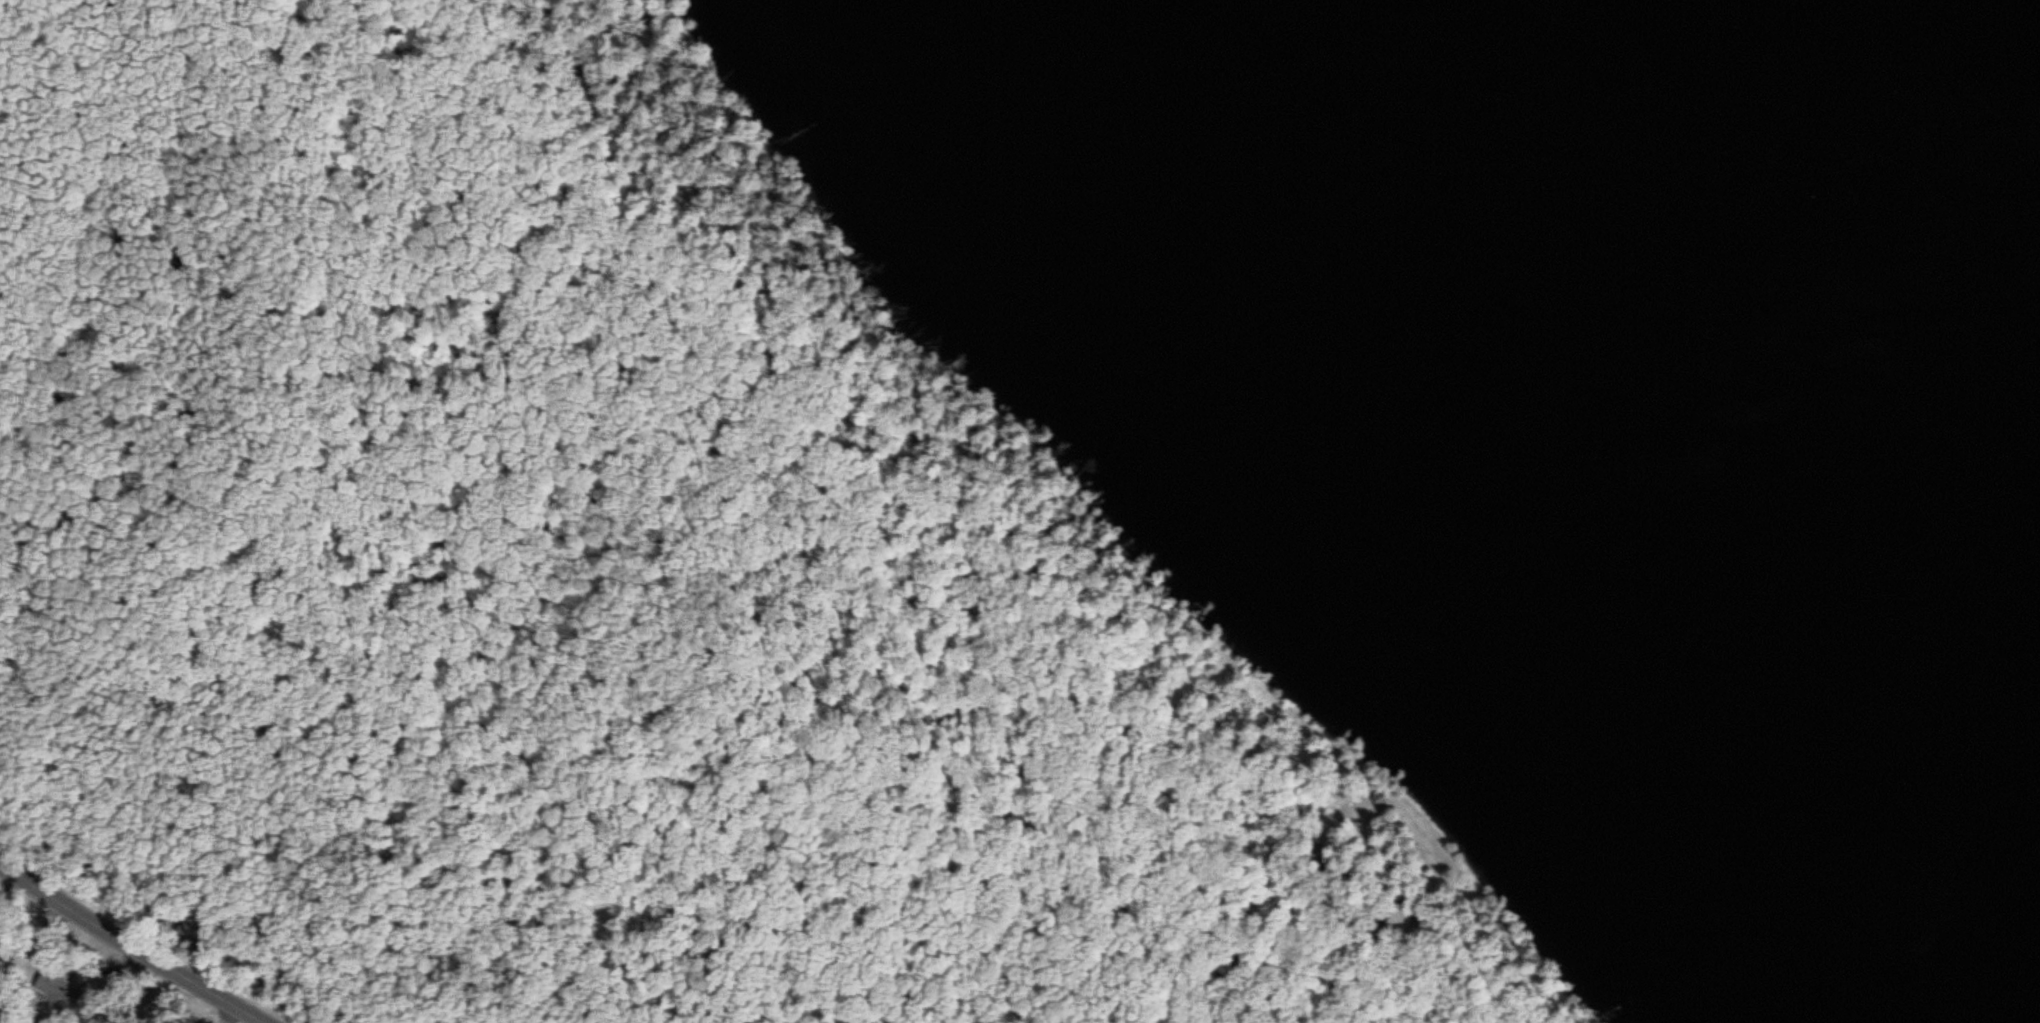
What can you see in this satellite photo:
road: (1071, 825)
road: (651, 828)
road: (1276, 945)
road: (129, 946)
building: (60, 992)

